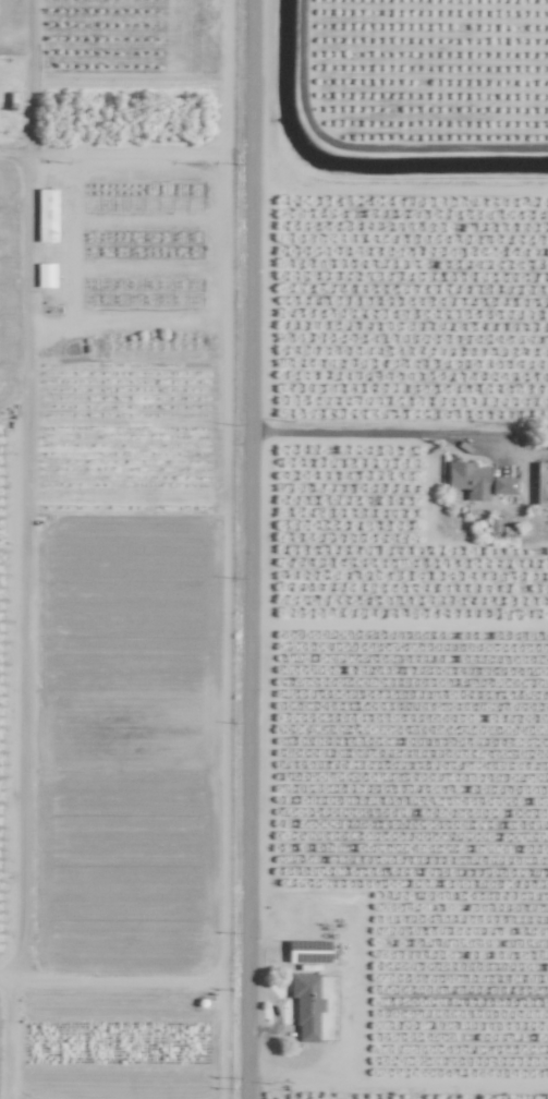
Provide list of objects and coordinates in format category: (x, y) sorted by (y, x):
road: (127, 156)
building: (45, 215)
building: (44, 275)
road: (380, 433)
building: (475, 481)
building: (540, 484)
road: (23, 487)
road: (254, 549)
road: (125, 980)
building: (304, 1005)

